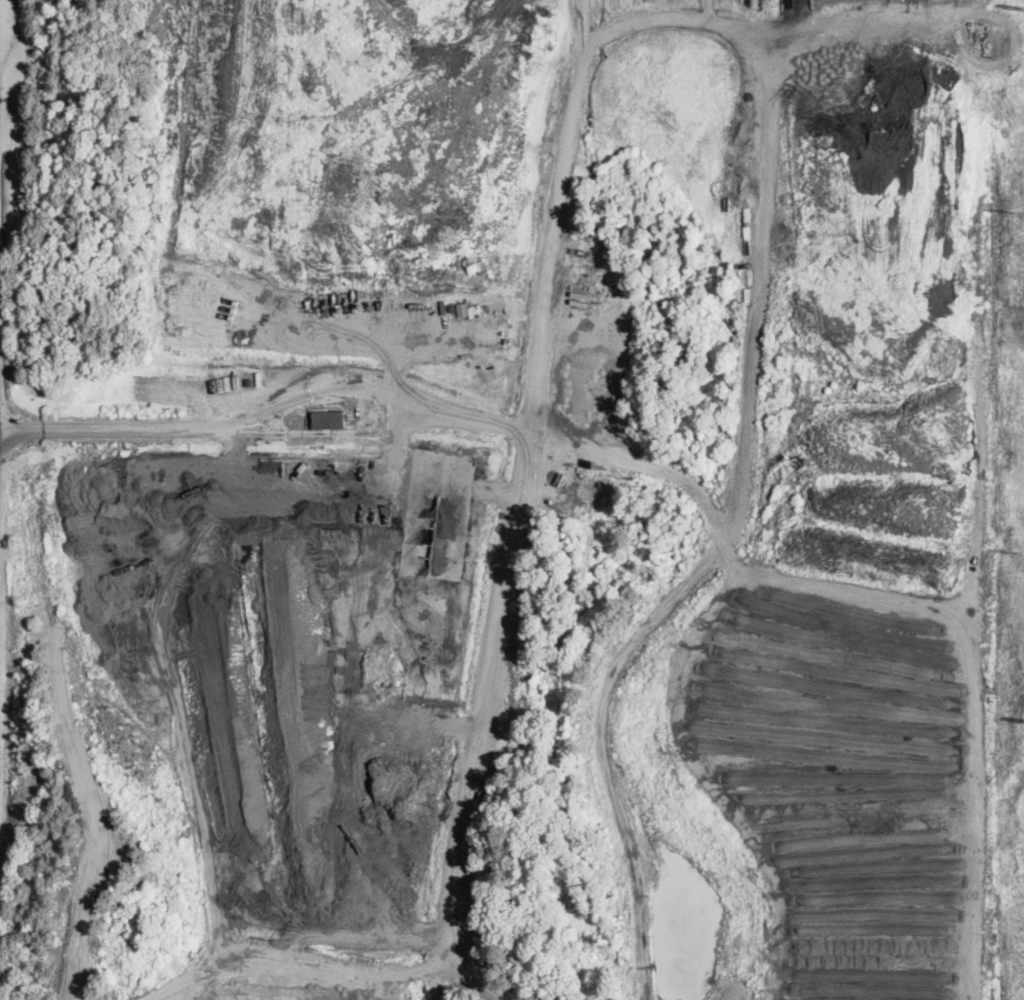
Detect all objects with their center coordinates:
road: (581, 34)
power tower: (1015, 212)
building: (451, 307)
building: (473, 307)
building: (462, 308)
building: (604, 370)
road: (340, 390)
building: (330, 420)
road: (489, 422)
road: (120, 428)
road: (343, 434)
road: (530, 449)
road: (378, 488)
landfill: (522, 500)
road: (719, 535)
power tower: (1017, 553)
road: (798, 701)

